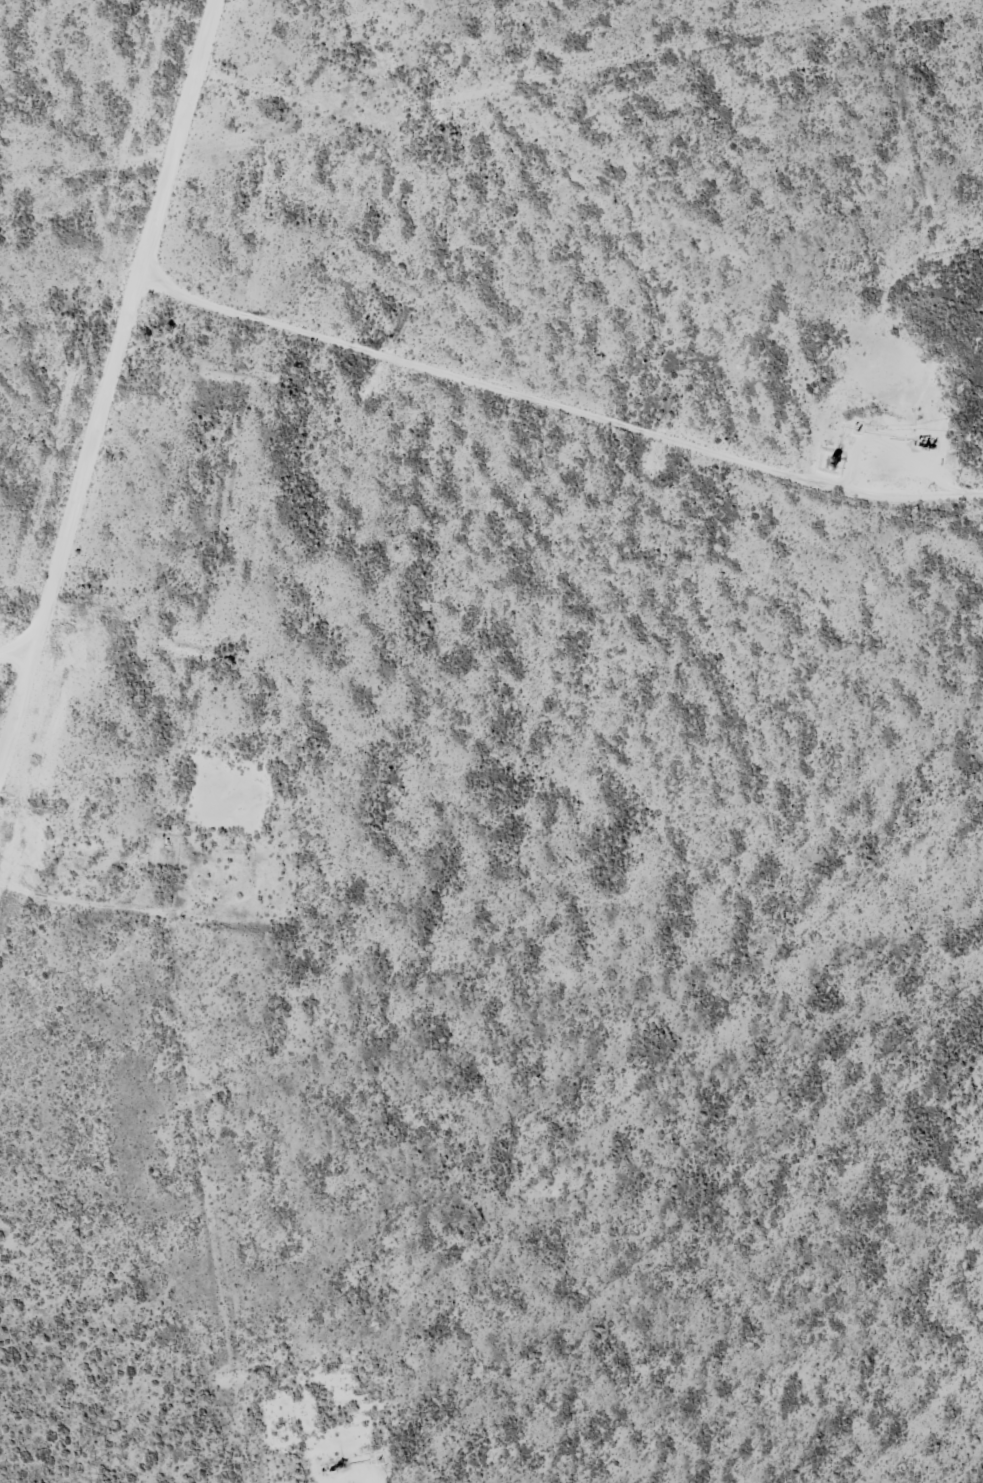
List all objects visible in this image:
road: (130, 346)
road: (11, 707)
road: (605, 1153)

